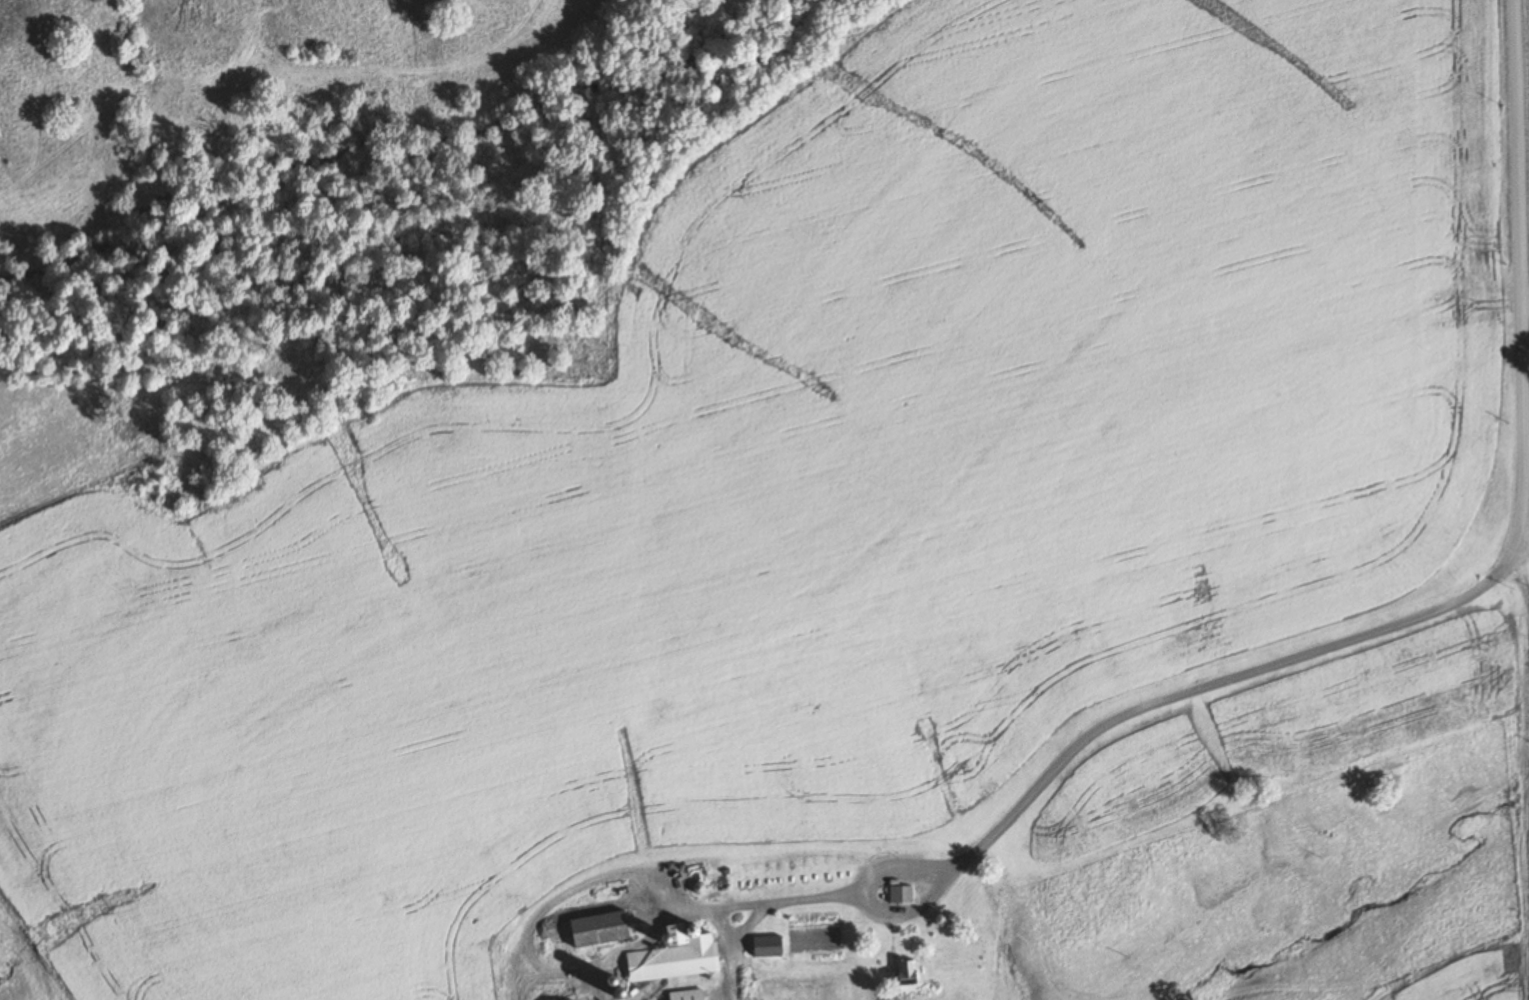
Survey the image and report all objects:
road: (1524, 547)
road: (1466, 591)
road: (1526, 718)
building: (902, 893)
building: (603, 927)
building: (770, 945)
building: (677, 954)
building: (909, 974)
building: (689, 994)
building: (573, 999)

